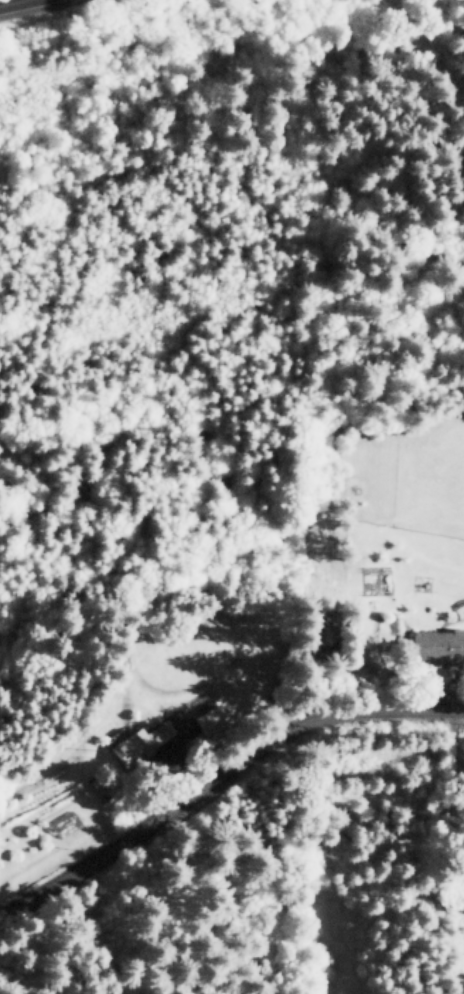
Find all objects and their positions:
road: (6, 1)
building: (438, 643)
building: (210, 715)
building: (179, 718)
building: (140, 741)
road: (453, 759)
road: (219, 776)

